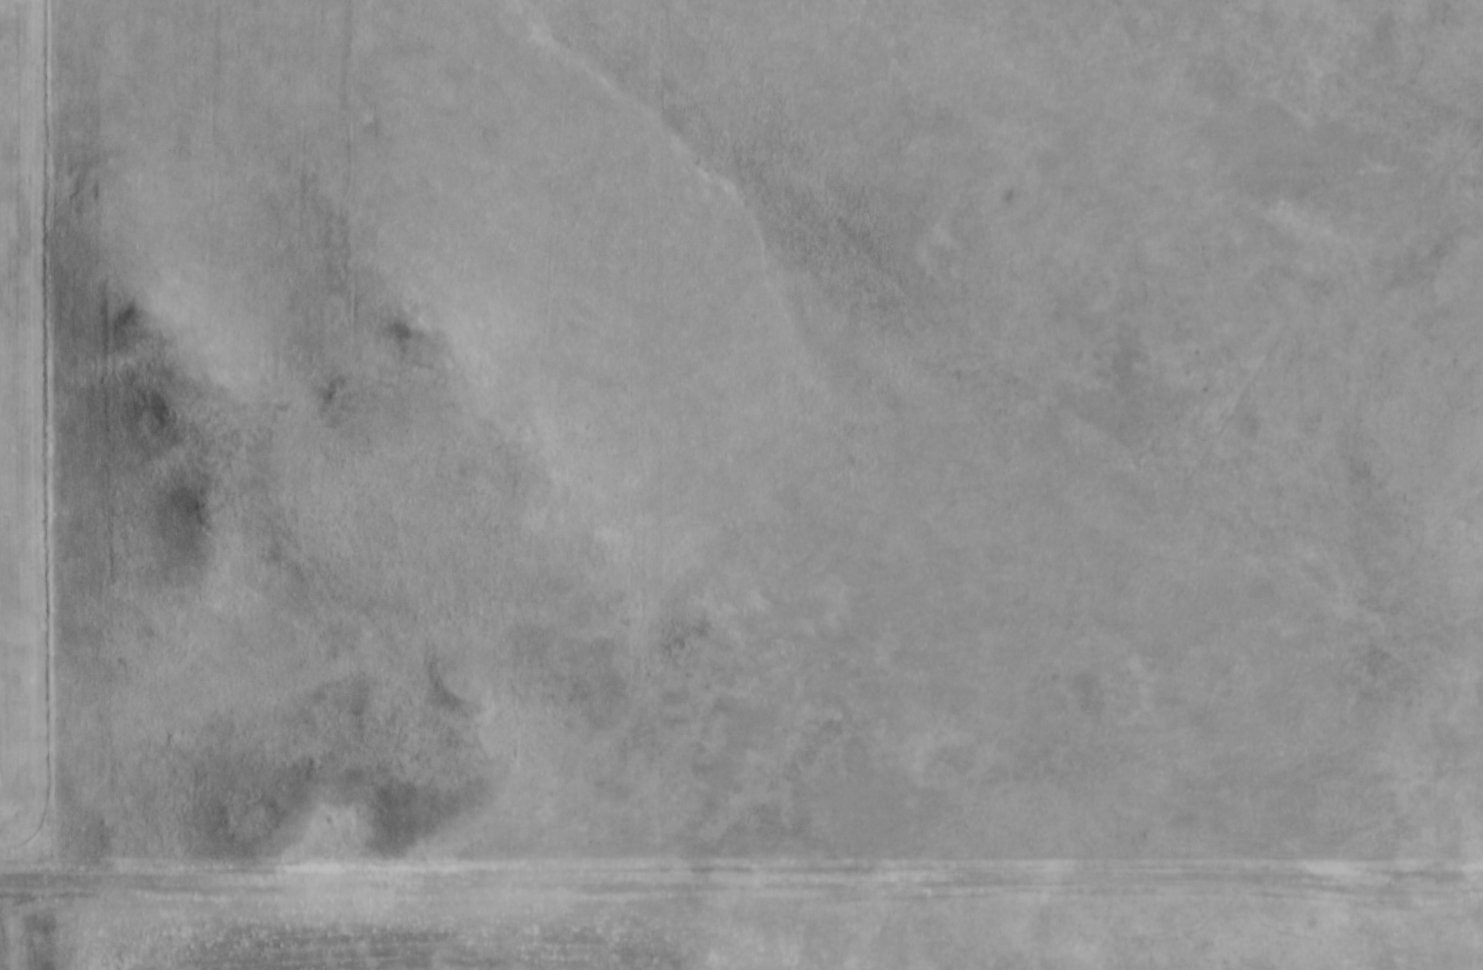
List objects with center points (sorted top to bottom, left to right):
road: (741, 881)

